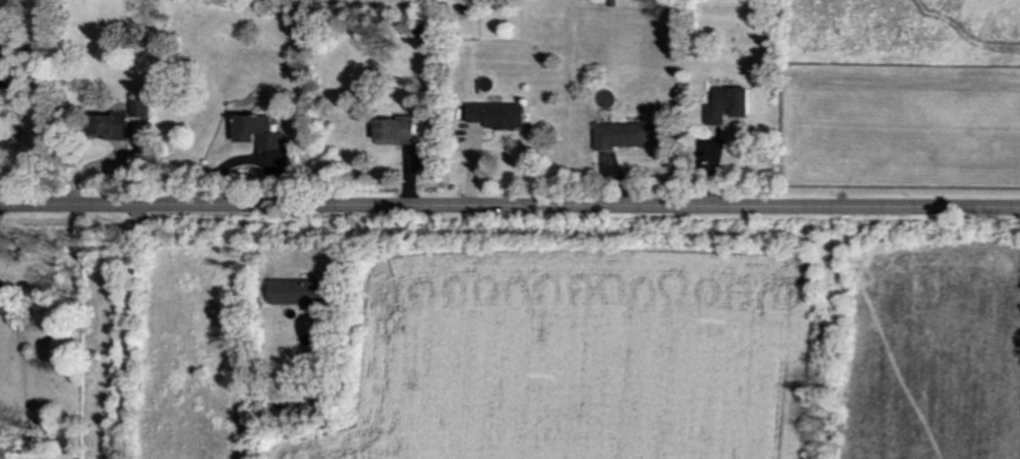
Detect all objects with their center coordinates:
building: (729, 105)
building: (138, 107)
building: (498, 115)
building: (109, 125)
building: (396, 130)
building: (259, 131)
building: (623, 135)
road: (509, 208)
building: (295, 292)
road: (127, 333)
crop: (939, 355)
crop: (586, 361)

